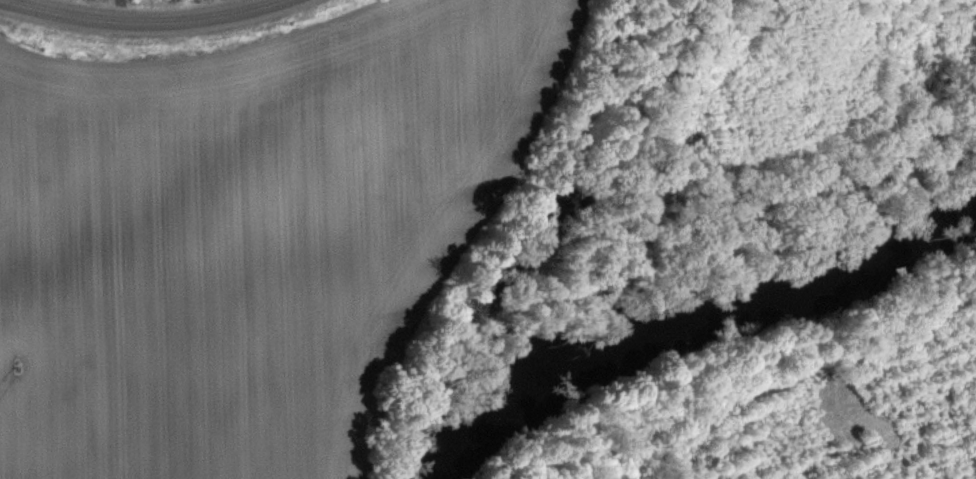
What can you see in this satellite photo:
road: (139, 23)
river: (687, 315)

